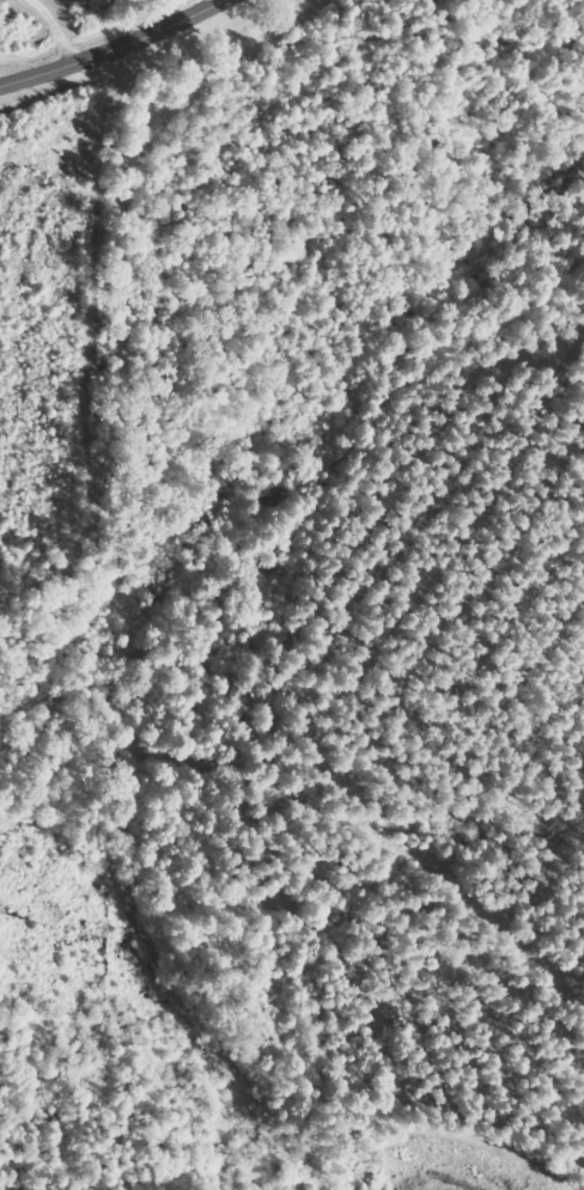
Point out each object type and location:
road: (114, 48)

